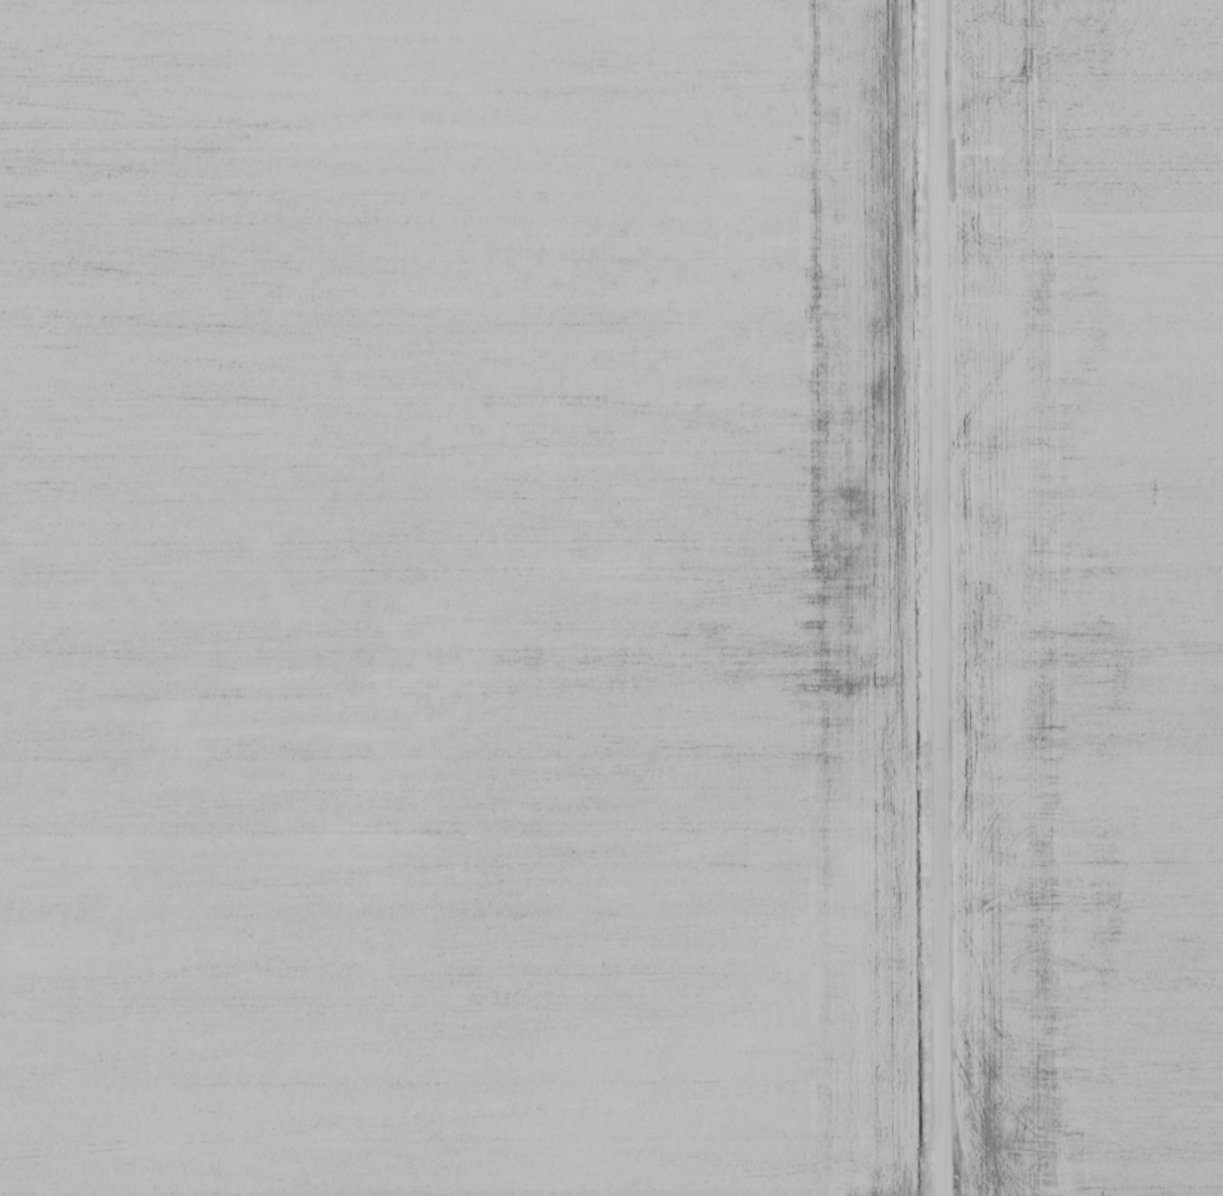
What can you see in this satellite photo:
road: (941, 597)

